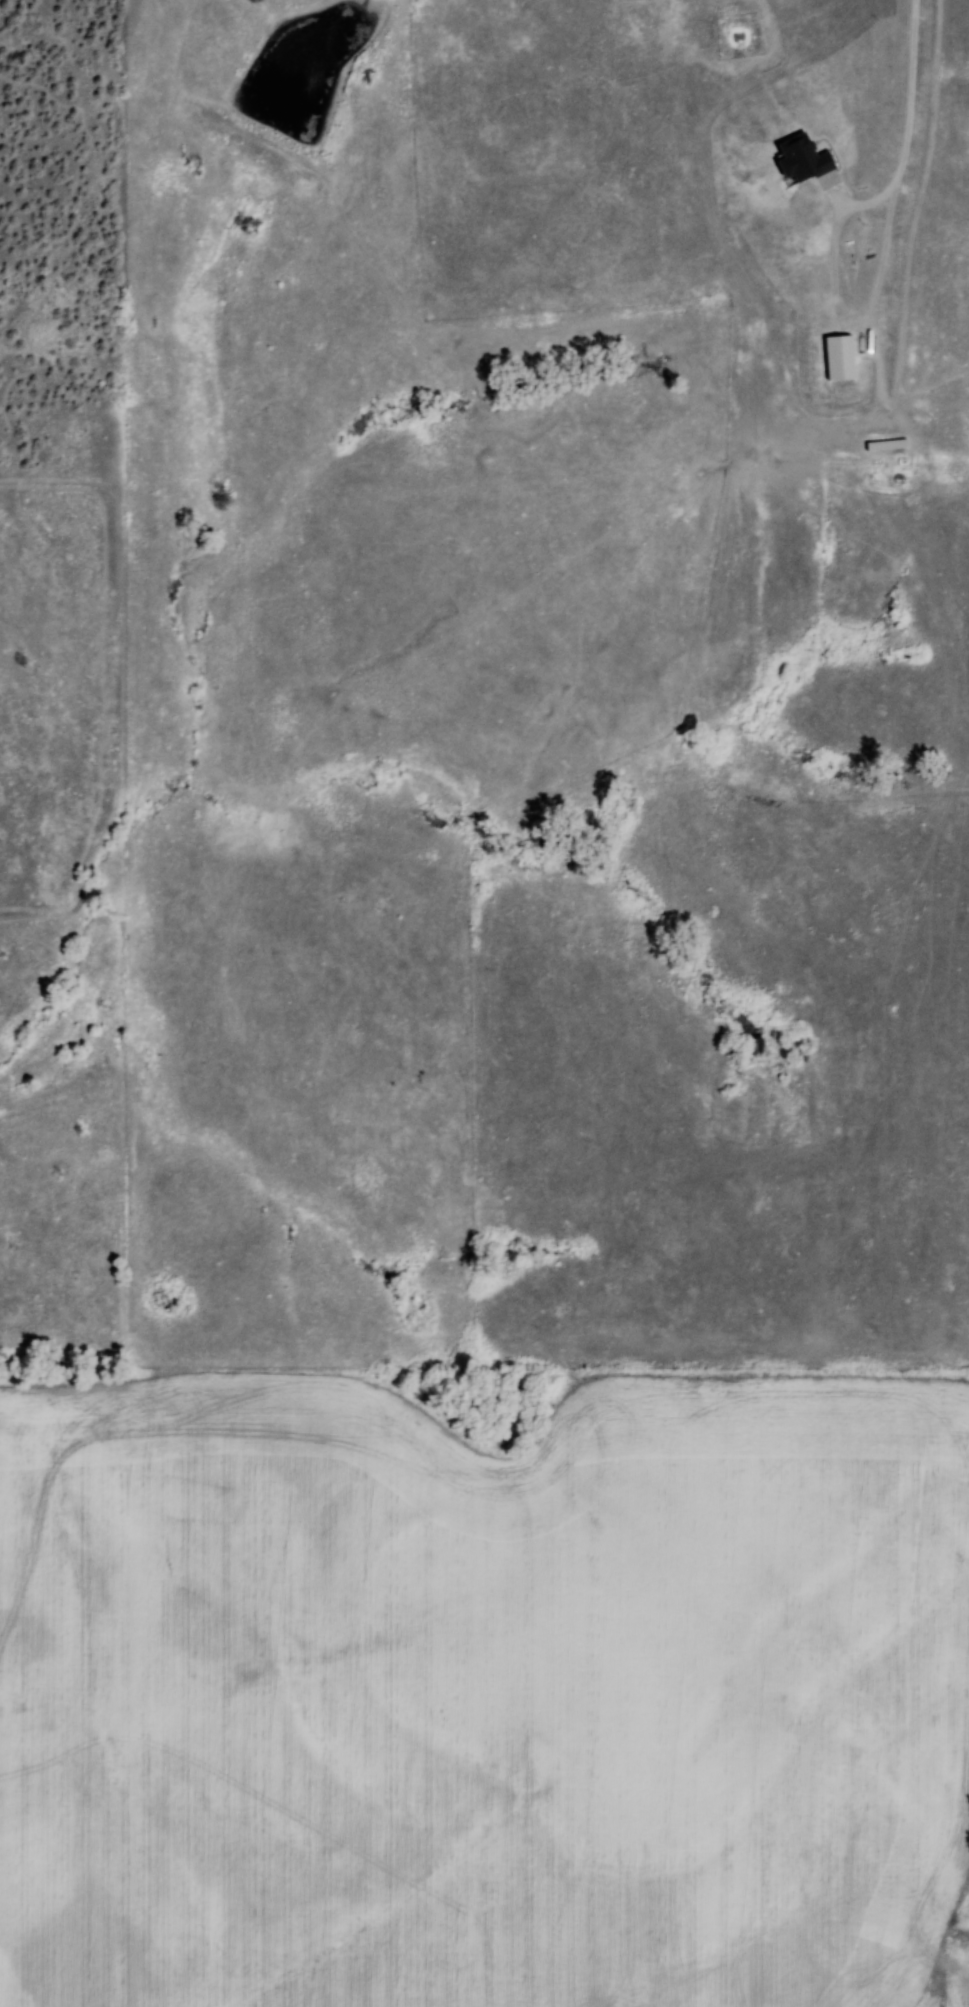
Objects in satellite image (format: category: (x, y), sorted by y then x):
road: (909, 122)
building: (801, 160)
building: (838, 358)

